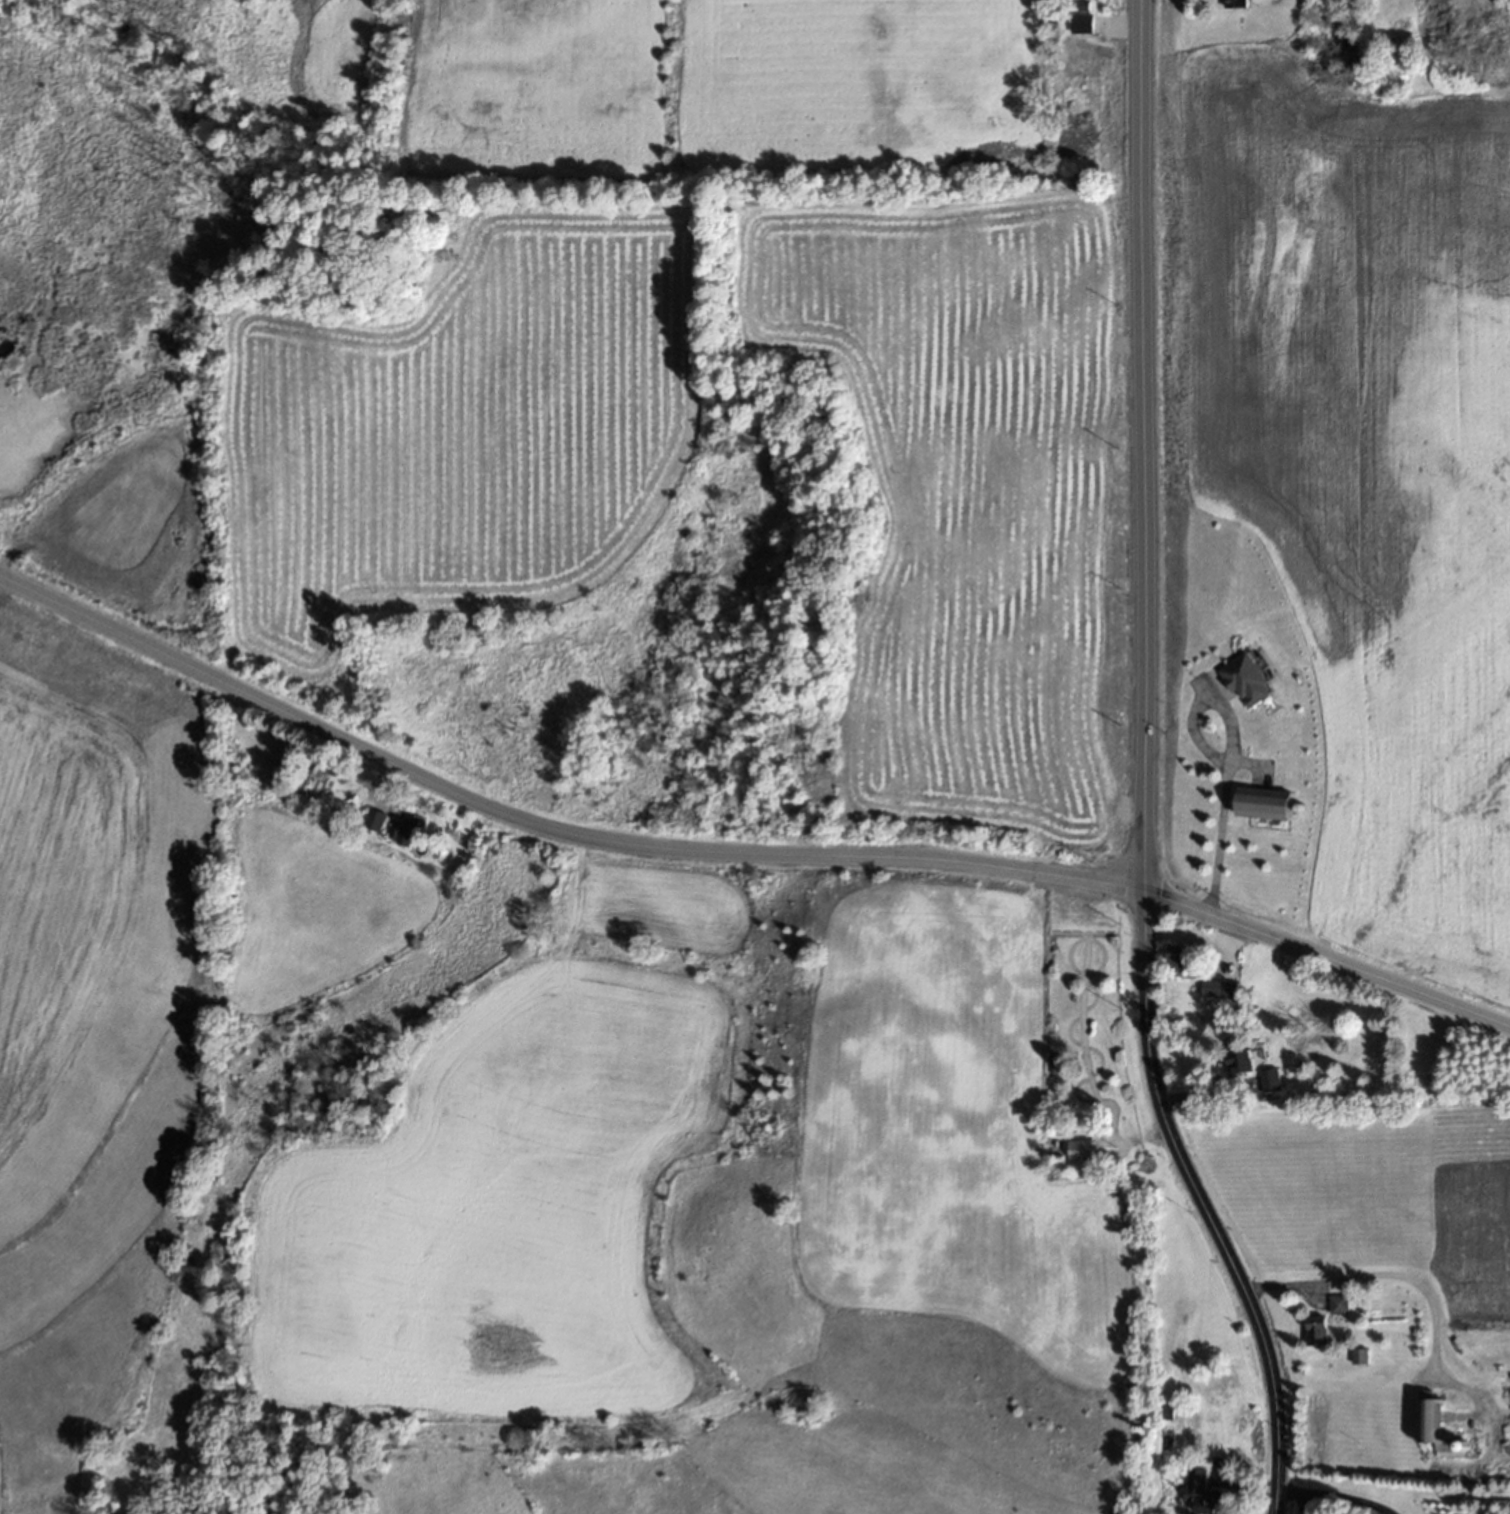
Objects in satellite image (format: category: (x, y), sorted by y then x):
building: (1082, 18)
building: (1246, 680)
road: (1227, 749)
road: (1150, 768)
building: (1267, 802)
building: (374, 818)
building: (403, 827)
road: (740, 847)
building: (1182, 955)
building: (1217, 988)
building: (1239, 1061)
building: (1268, 1081)
building: (1078, 1148)
road: (1375, 1275)
building: (1337, 1304)
building: (1316, 1330)
building: (1358, 1356)
building: (1433, 1423)
building: (1200, 1492)
road: (1337, 1494)

